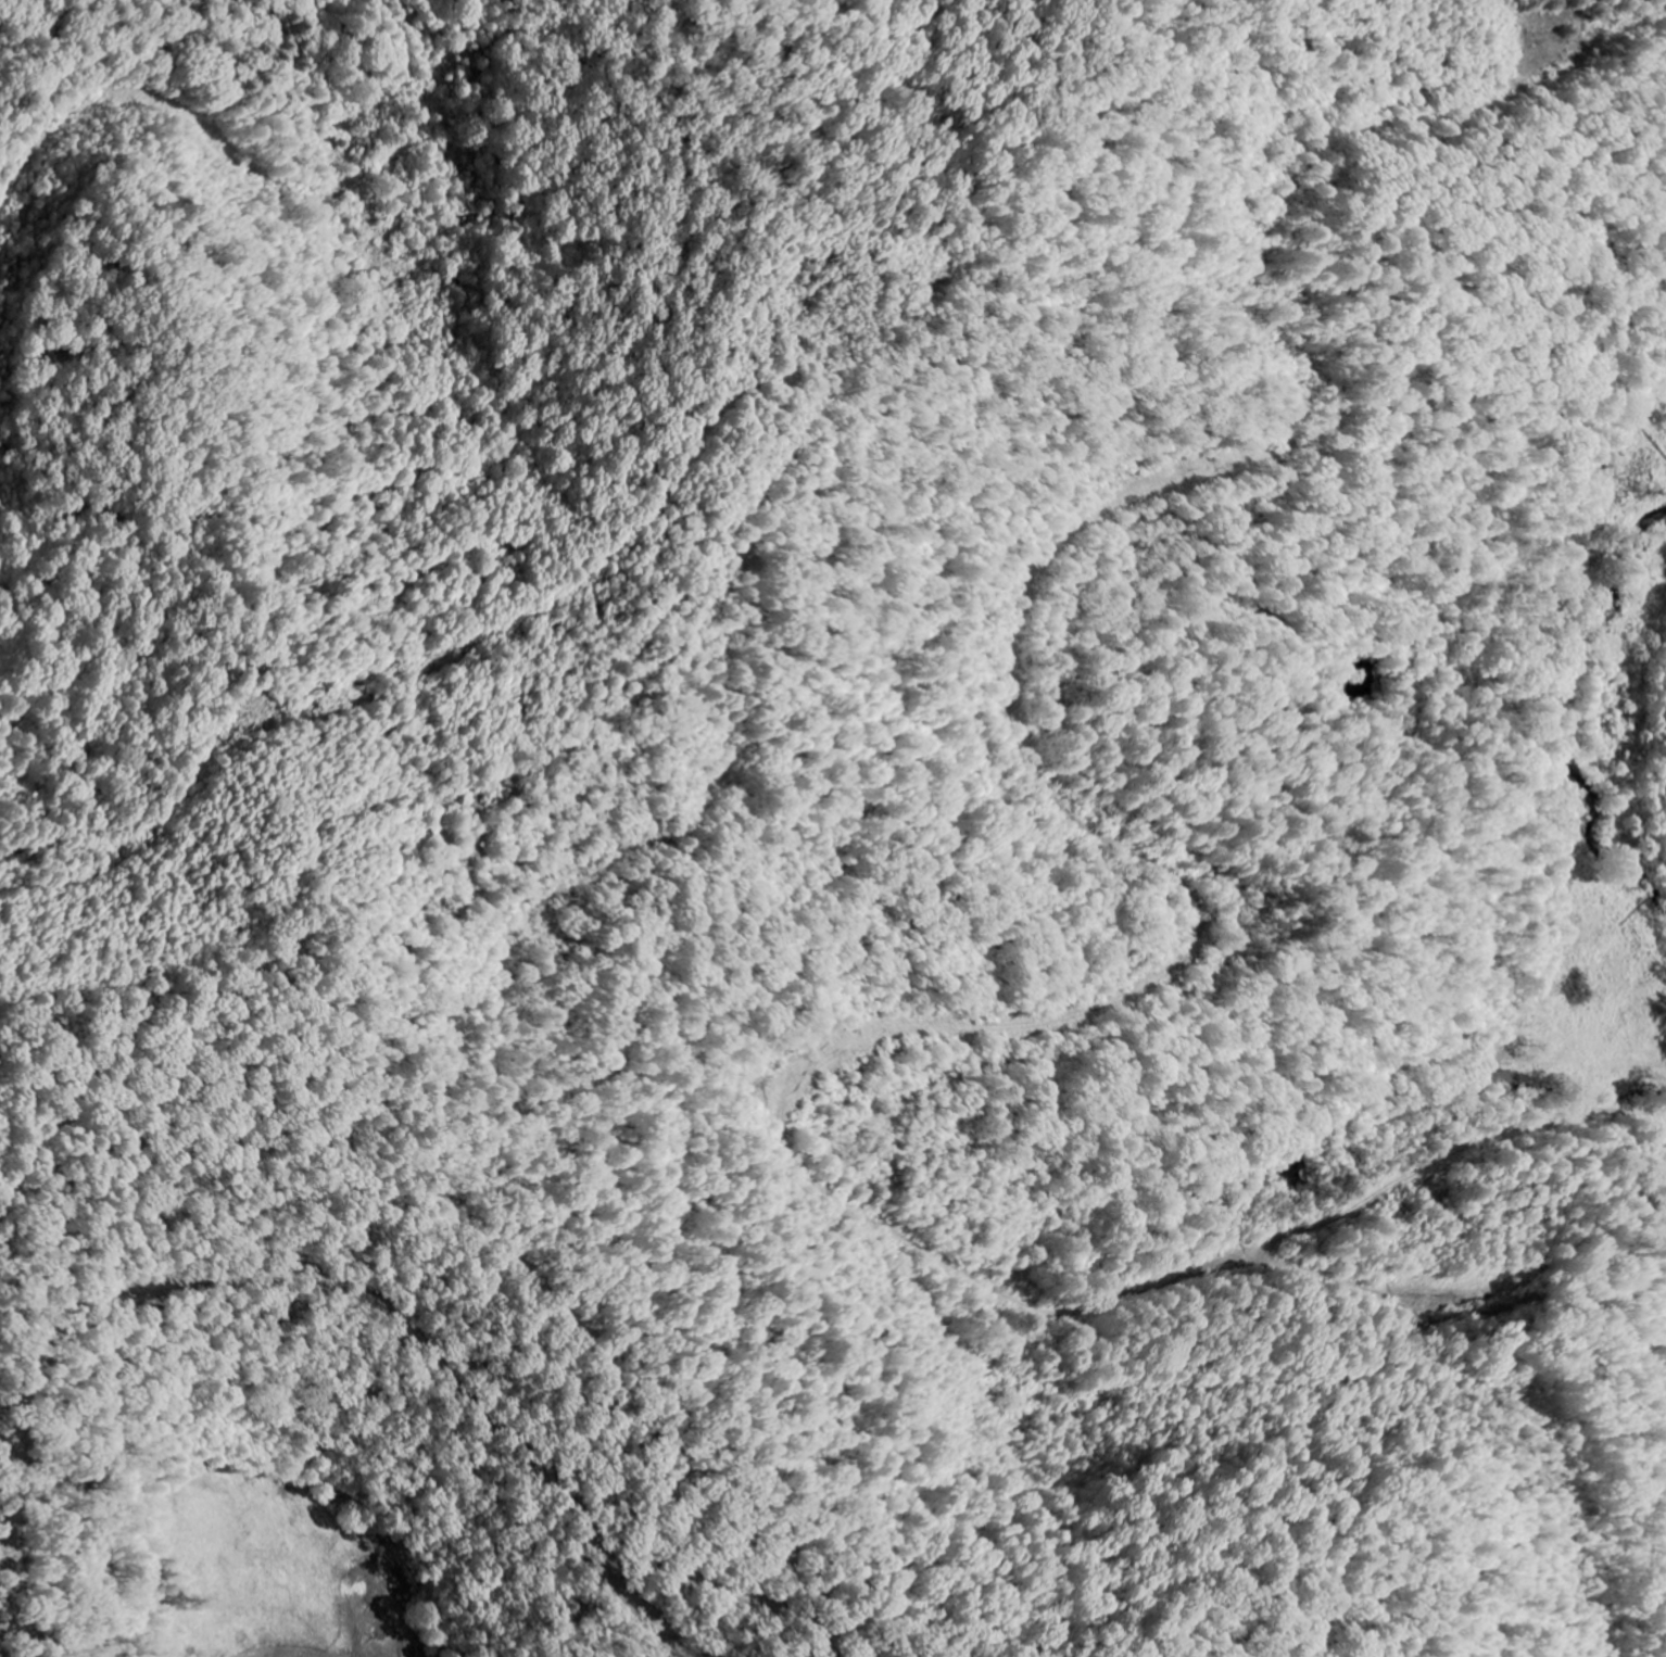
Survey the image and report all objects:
building: (1492, 1082)

